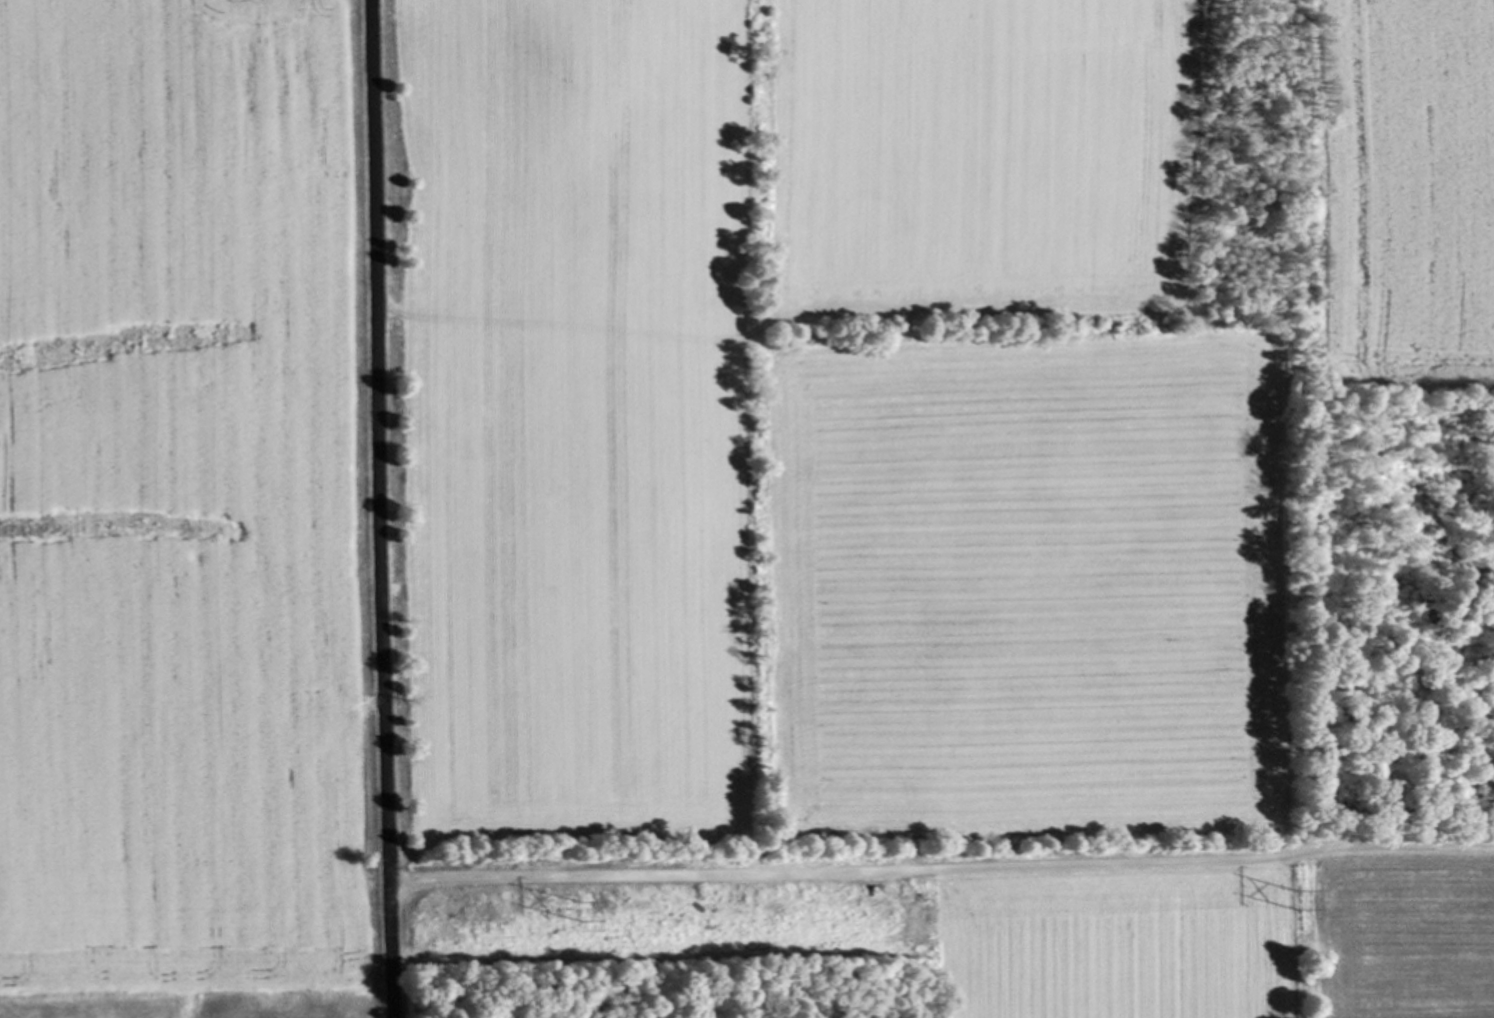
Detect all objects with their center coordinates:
road: (381, 509)
power tower: (1302, 900)
power tower: (582, 912)

